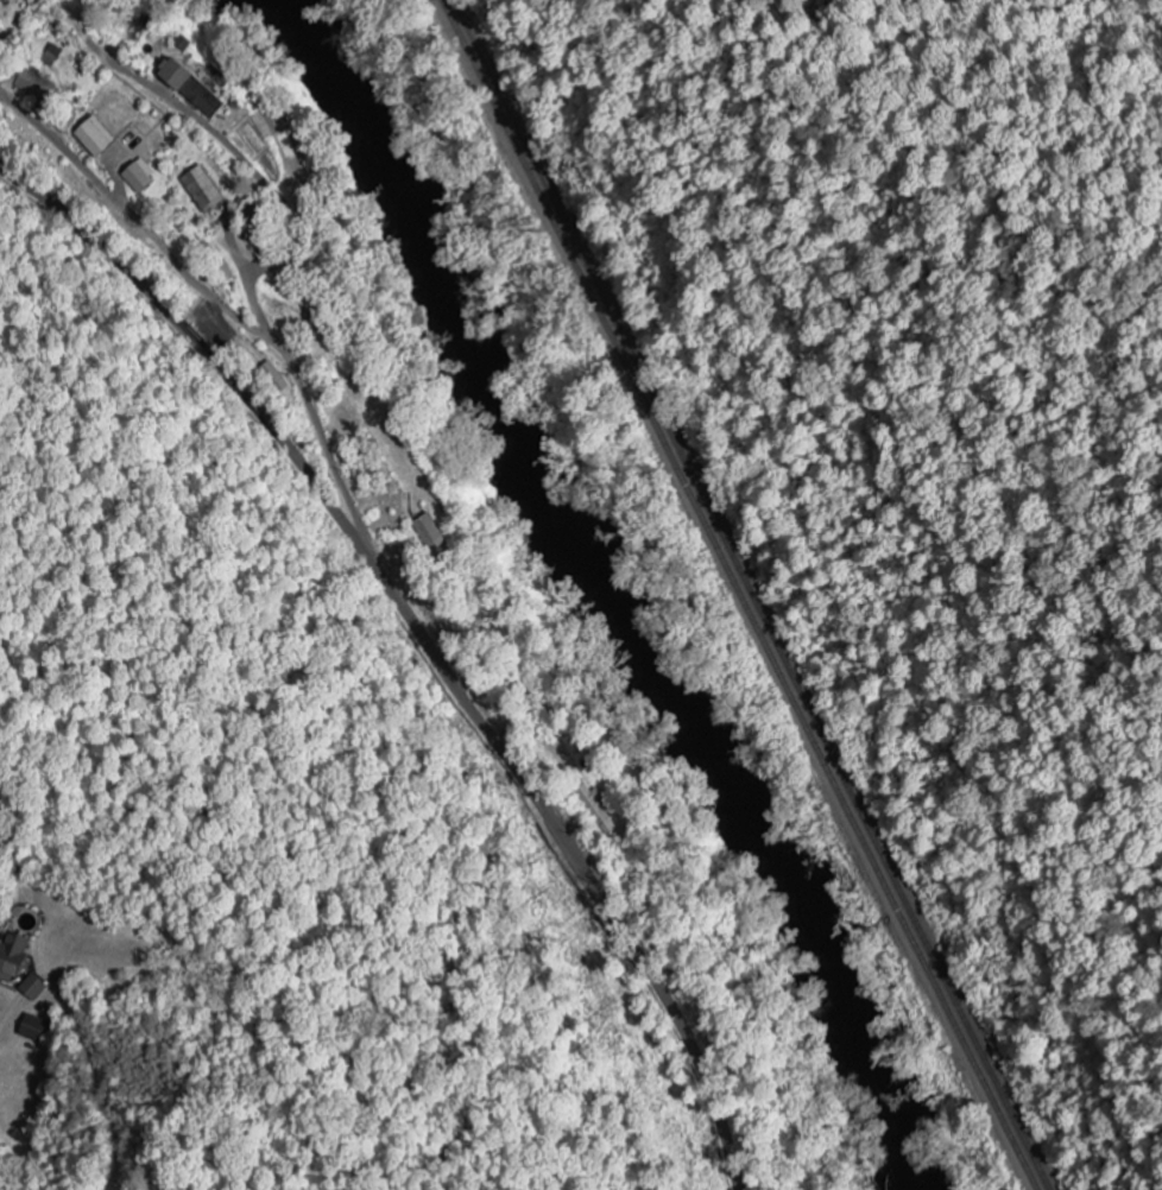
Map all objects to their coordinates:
building: (0, 23)
building: (198, 89)
building: (101, 137)
road: (238, 153)
building: (144, 177)
building: (207, 190)
road: (140, 222)
road: (270, 271)
road: (242, 293)
road: (258, 341)
building: (429, 532)
railway: (740, 593)
railway: (753, 593)
river: (606, 596)
road: (422, 640)
building: (15, 960)
building: (37, 988)
building: (34, 1030)

